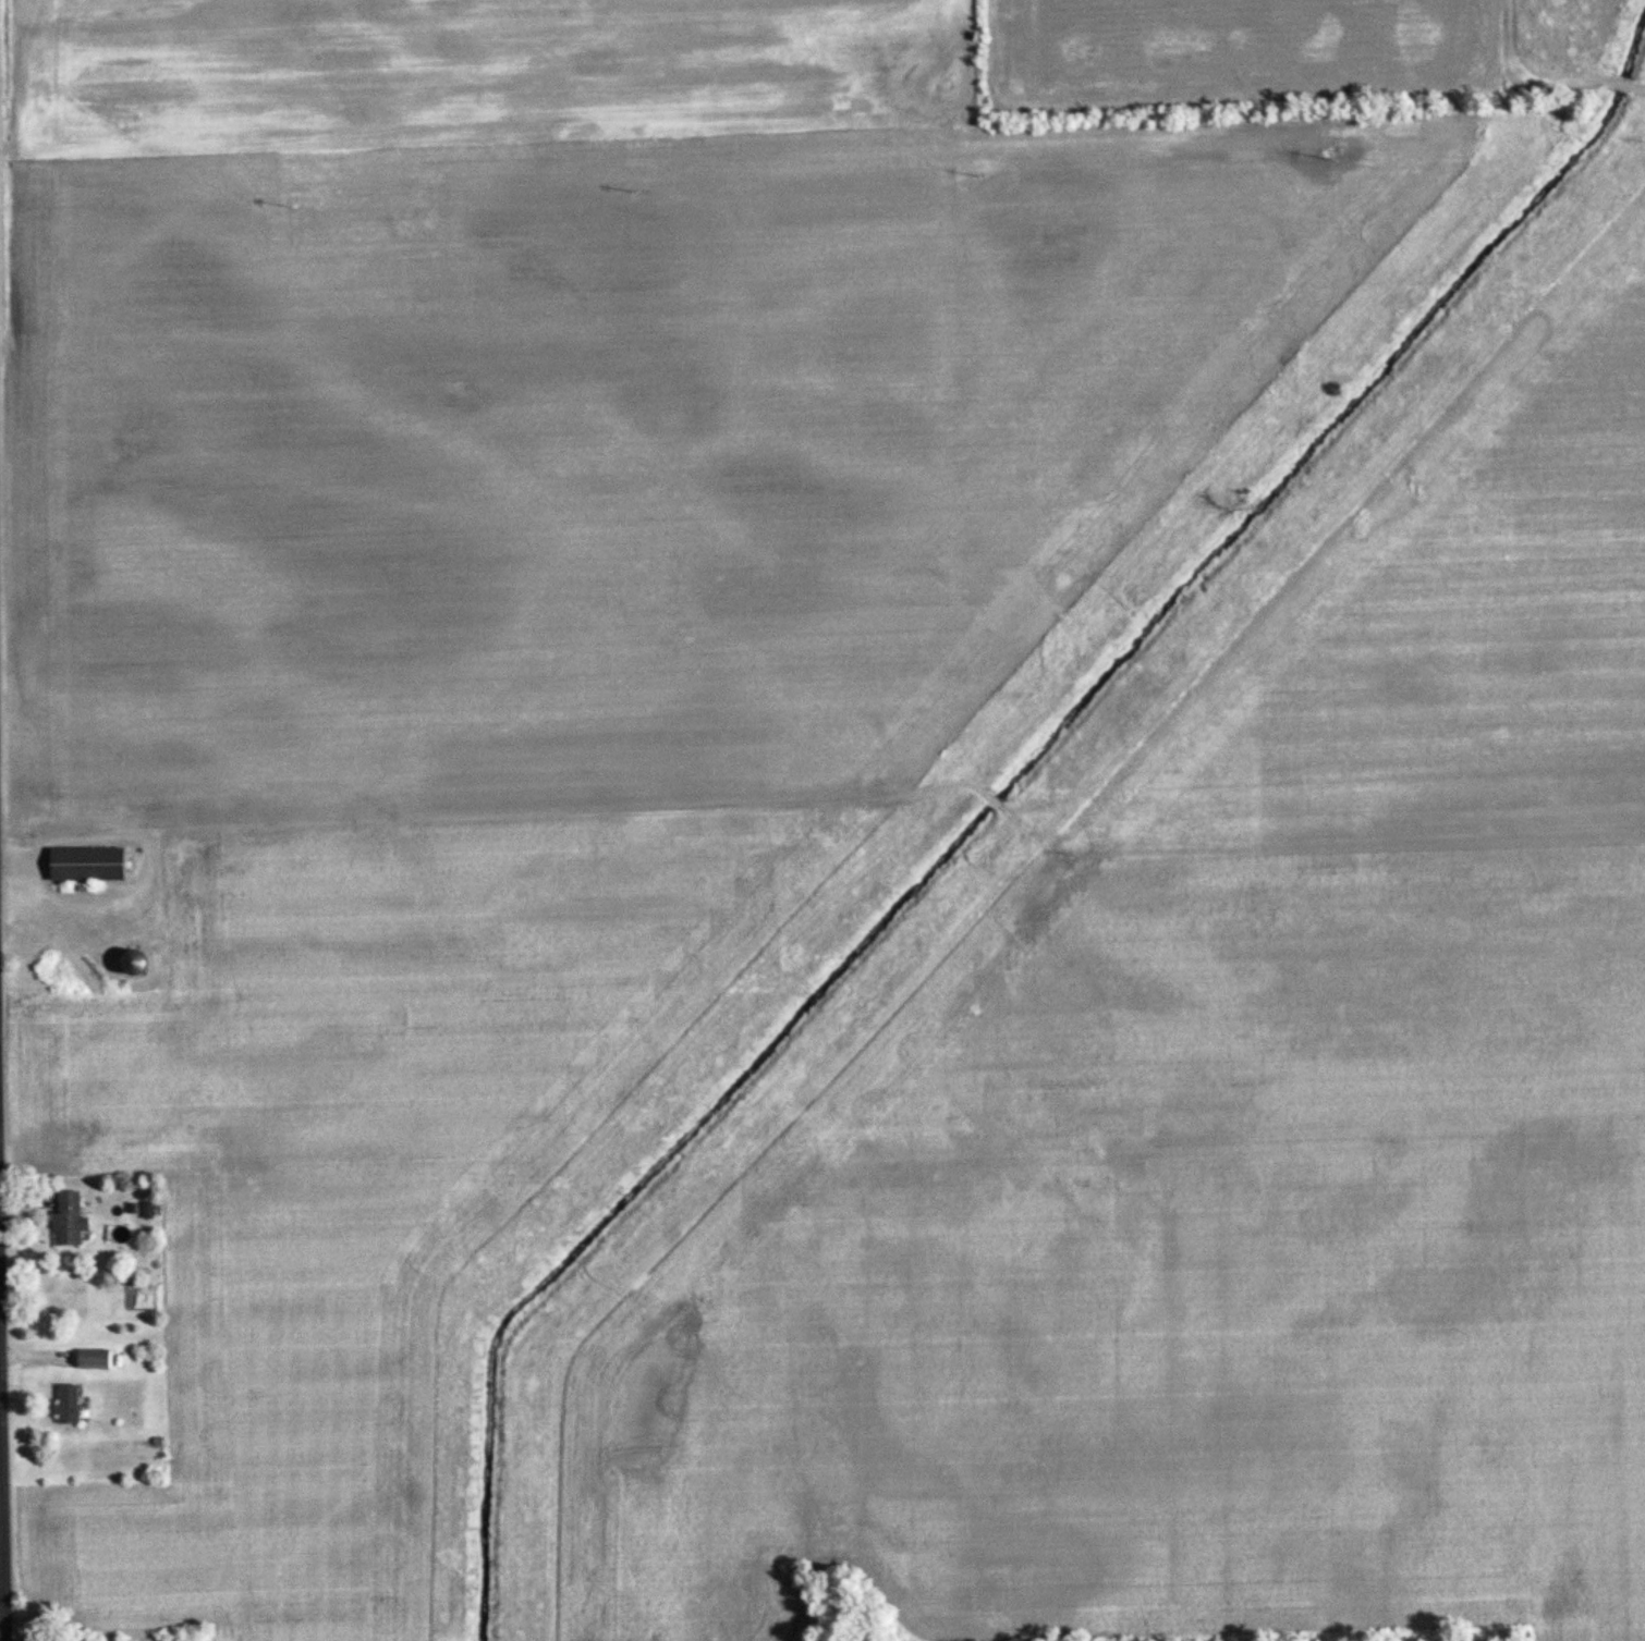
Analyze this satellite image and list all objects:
building: (97, 862)
building: (75, 1216)
building: (101, 1357)
building: (73, 1403)
road: (1, 1491)
road: (2, 1514)

